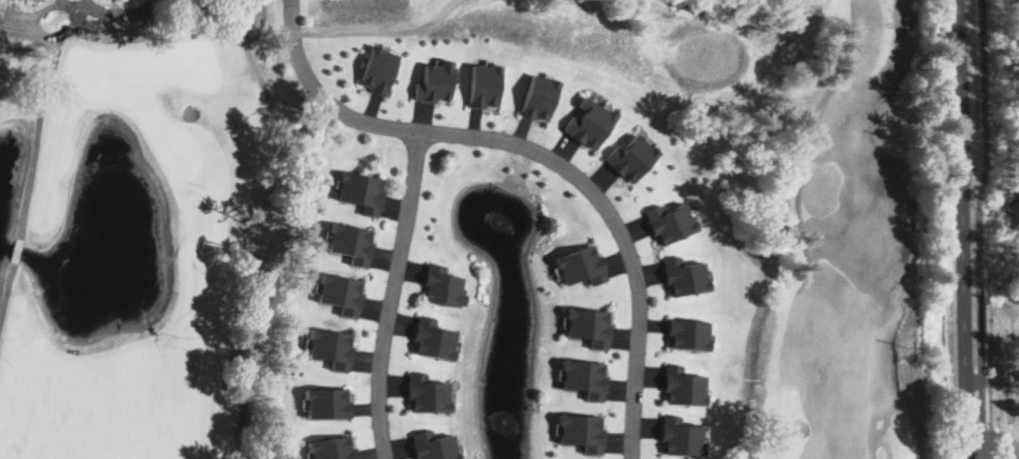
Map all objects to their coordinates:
building: (380, 72)
building: (436, 83)
building: (485, 86)
building: (540, 98)
road: (321, 99)
building: (591, 123)
building: (633, 159)
building: (362, 193)
building: (673, 224)
road: (962, 229)
park: (446, 230)
road: (617, 232)
building: (352, 244)
building: (583, 267)
building: (688, 278)
building: (444, 287)
building: (341, 294)
road: (393, 295)
building: (590, 328)
building: (690, 336)
building: (434, 340)
building: (332, 349)
road: (992, 379)
building: (586, 380)
building: (684, 387)
building: (429, 395)
park: (1004, 403)
building: (328, 405)
building: (582, 433)
building: (682, 438)
building: (434, 446)
building: (333, 449)

